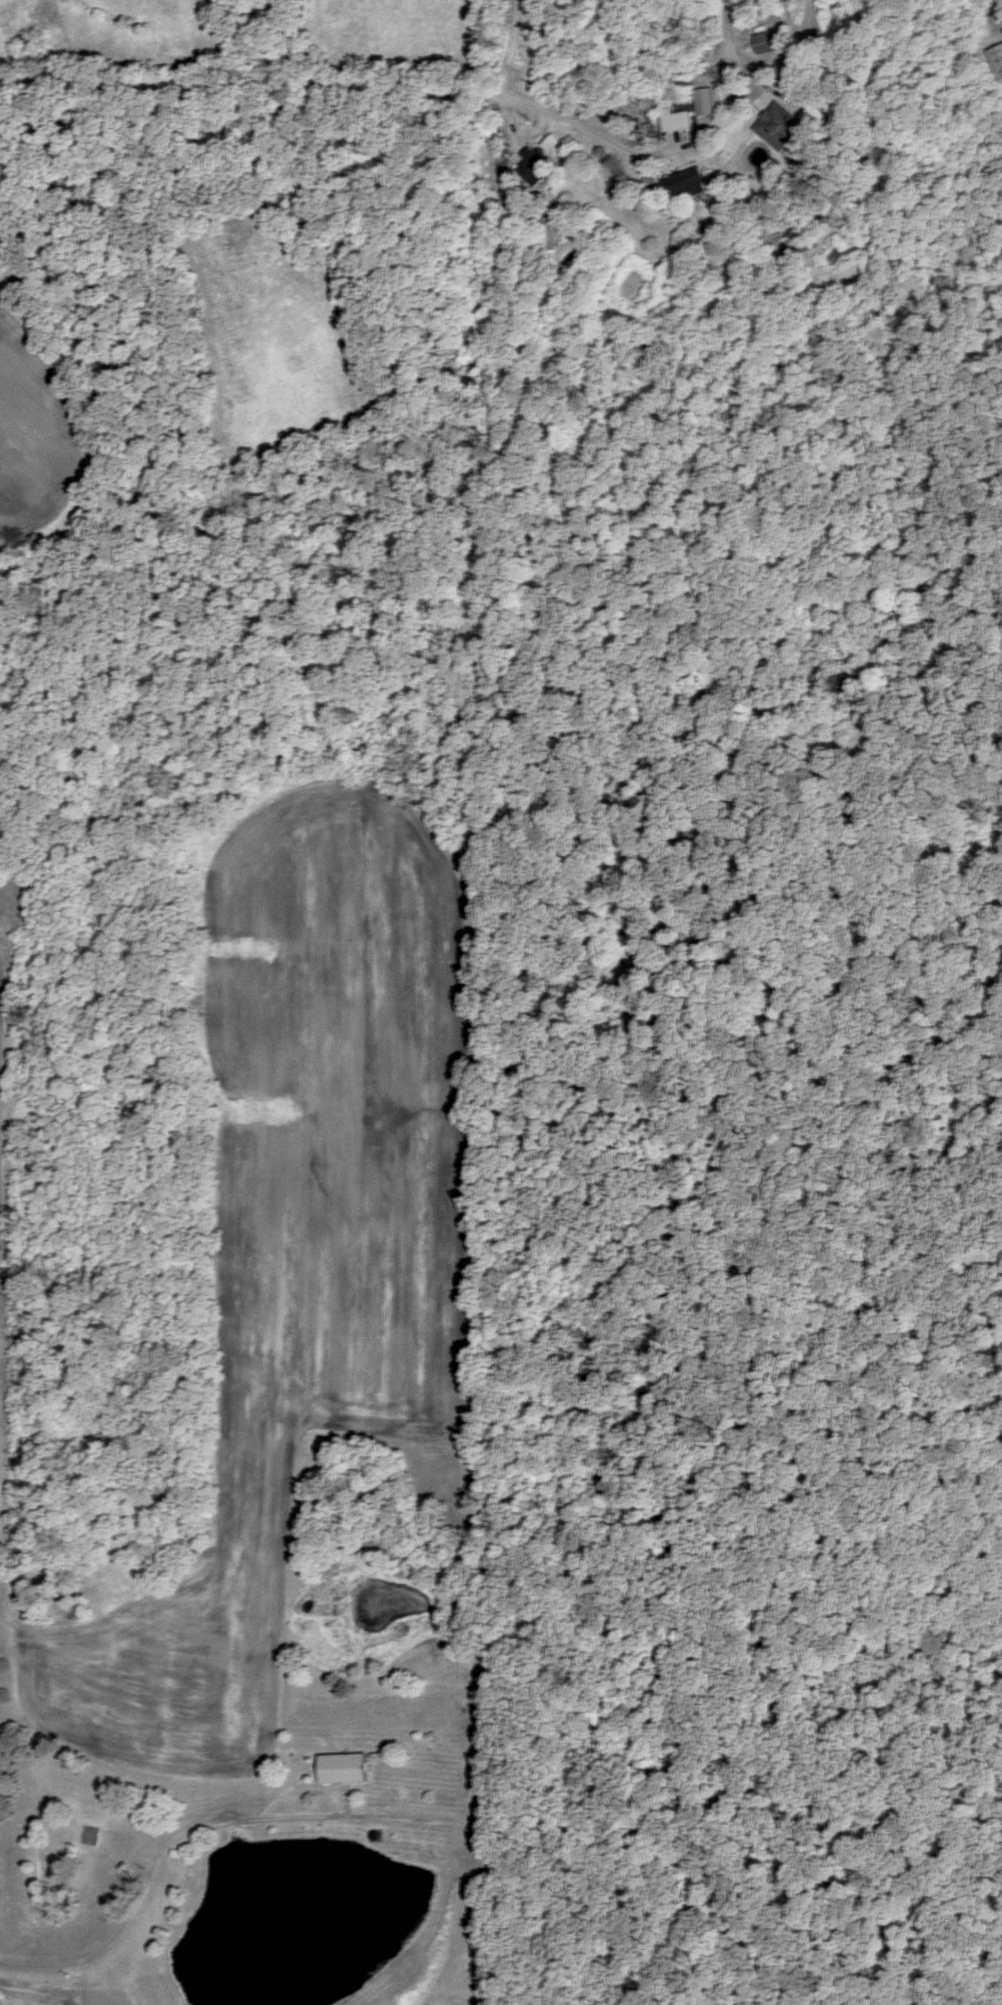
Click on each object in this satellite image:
road: (1001, 0)
building: (775, 42)
road: (721, 47)
road: (504, 51)
building: (997, 59)
road: (350, 88)
building: (676, 117)
building: (824, 122)
building: (782, 127)
building: (542, 159)
building: (686, 185)
building: (348, 1770)
building: (91, 1837)
road: (161, 1870)

